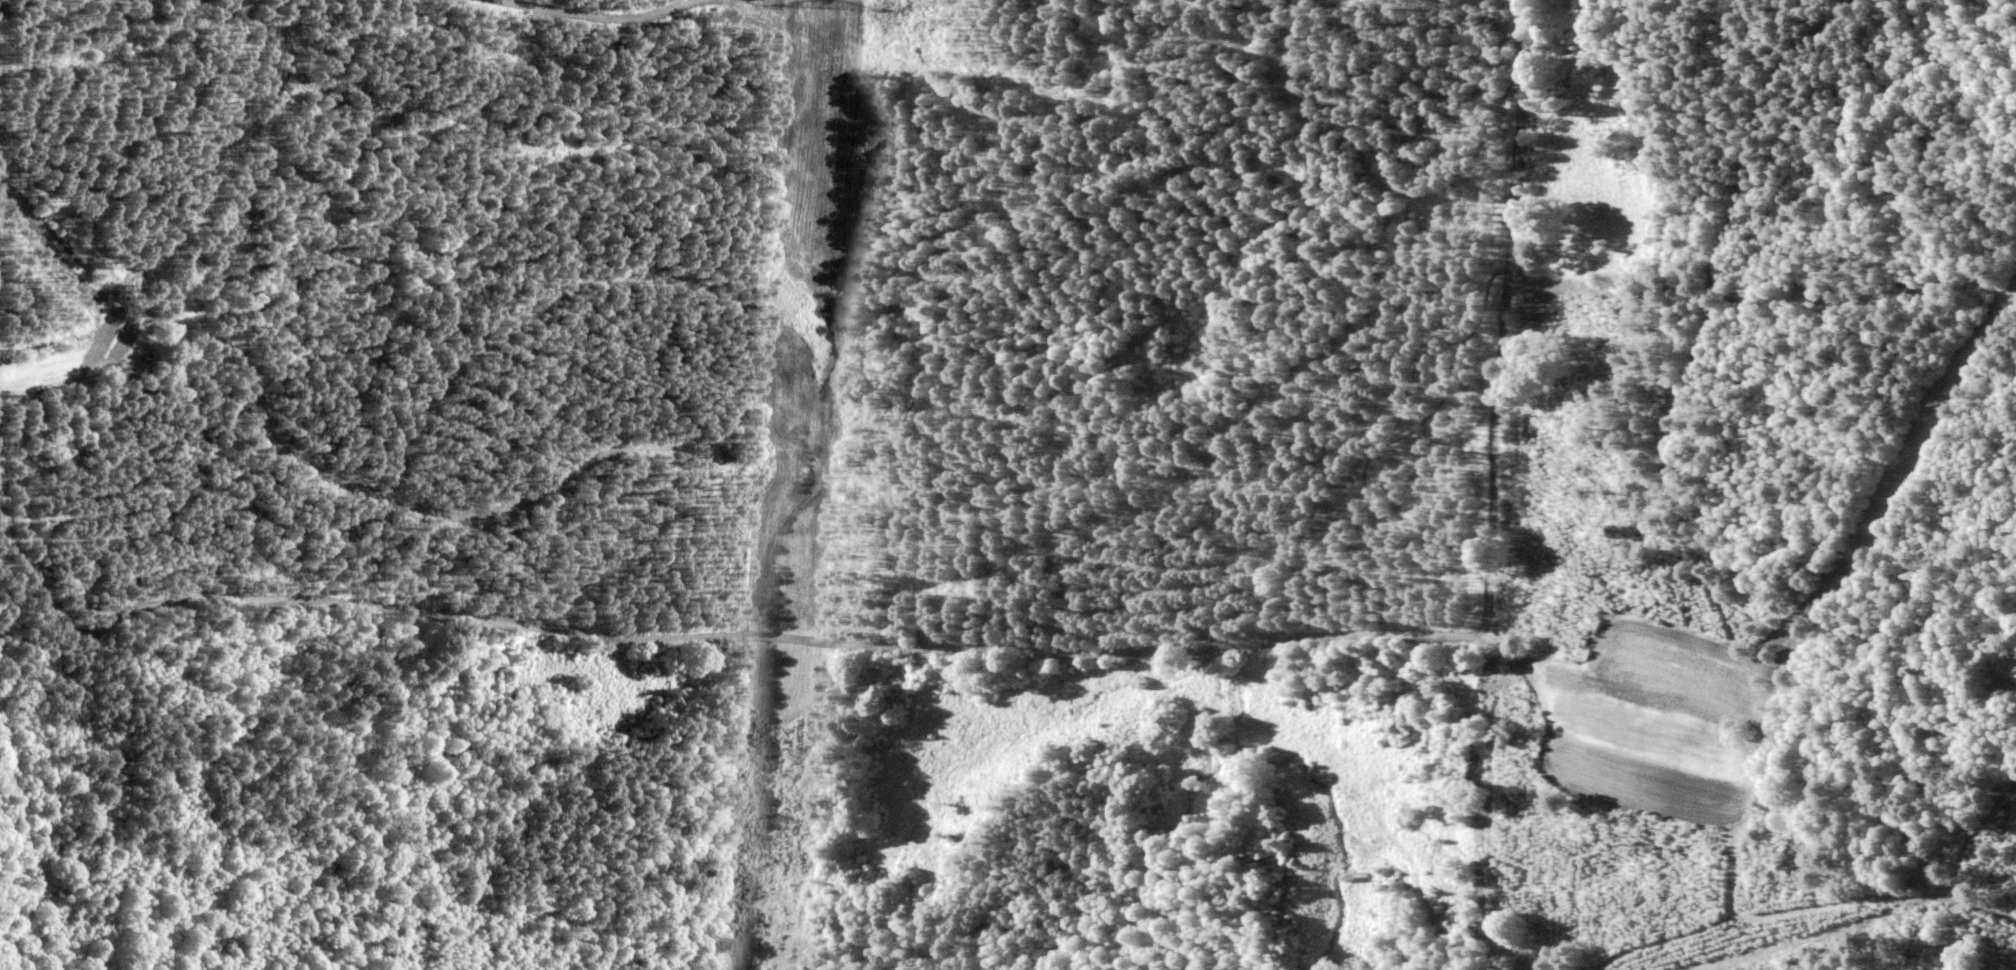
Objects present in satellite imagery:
power tower: (824, 3)
power tower: (773, 823)
road: (1654, 954)

